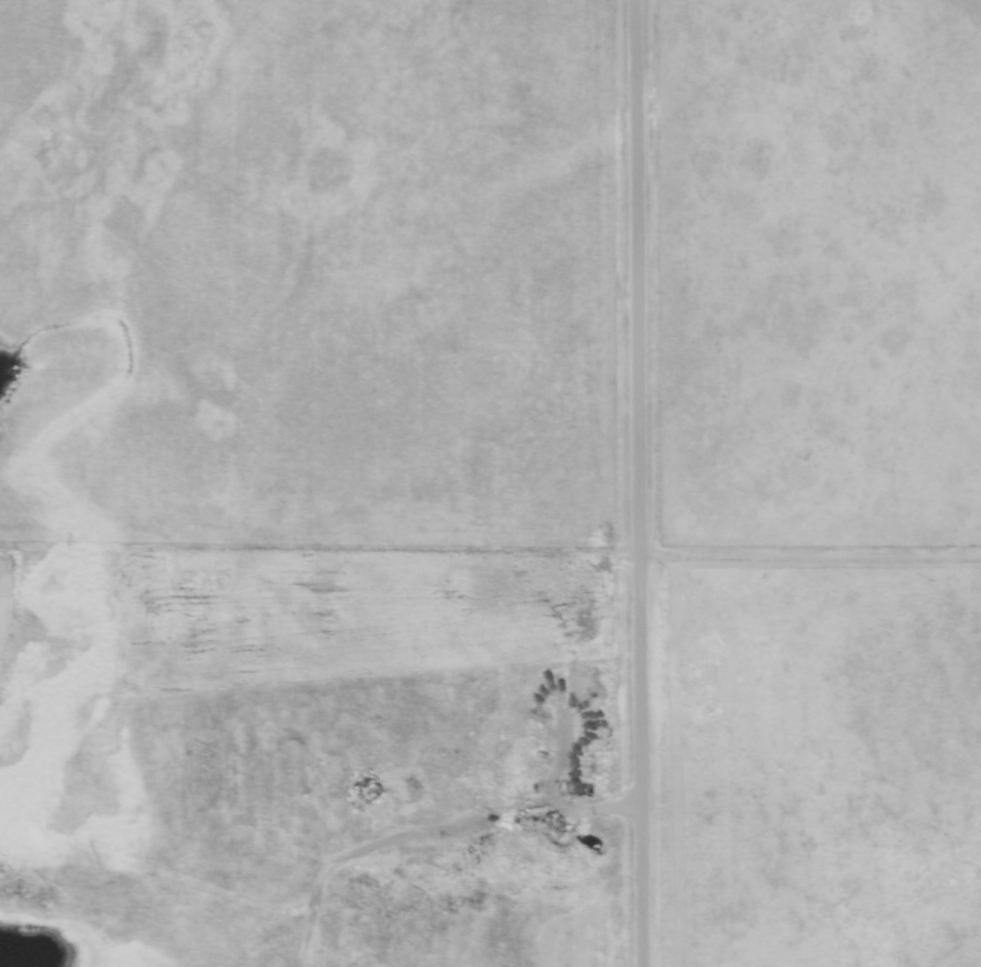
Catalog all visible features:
road: (642, 483)

